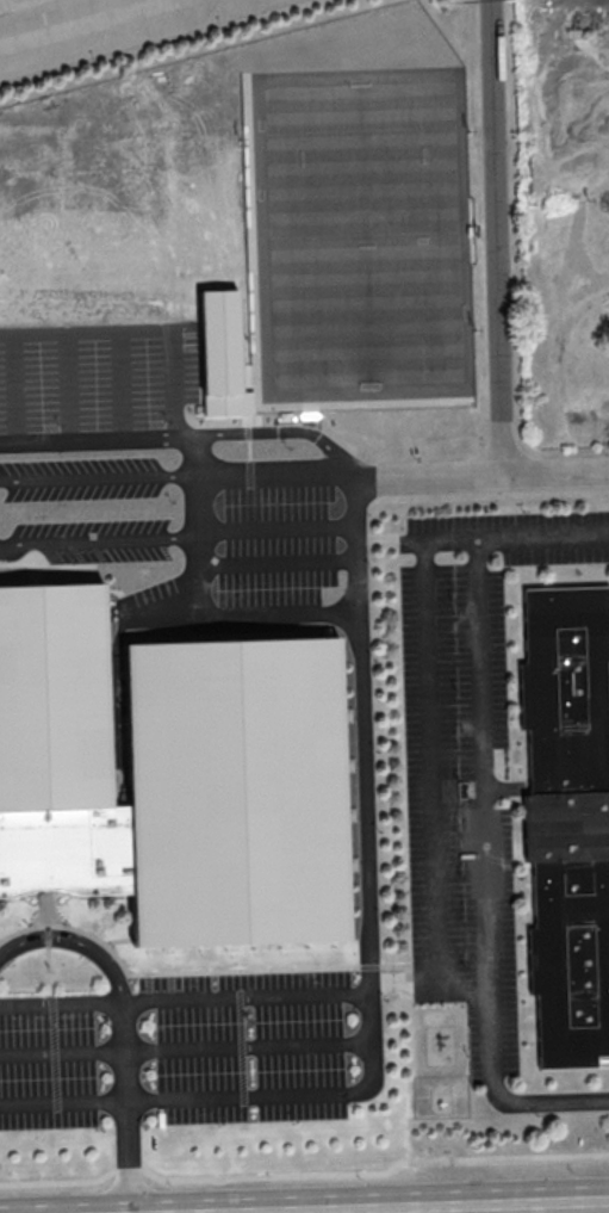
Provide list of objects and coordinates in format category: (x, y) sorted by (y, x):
road: (62, 16)
park: (366, 231)
road: (497, 239)
road: (139, 328)
road: (120, 383)
road: (70, 385)
road: (14, 386)
road: (185, 435)
road: (176, 475)
road: (481, 477)
road: (199, 485)
road: (355, 493)
road: (483, 503)
road: (279, 532)
road: (100, 539)
road: (280, 562)
road: (238, 619)
road: (434, 762)
building: (176, 786)
road: (486, 806)
building: (572, 825)
road: (75, 941)
road: (373, 983)
road: (249, 997)
road: (112, 1002)
road: (251, 1050)
road: (63, 1054)
road: (131, 1156)
road: (305, 1176)
road: (421, 1206)

